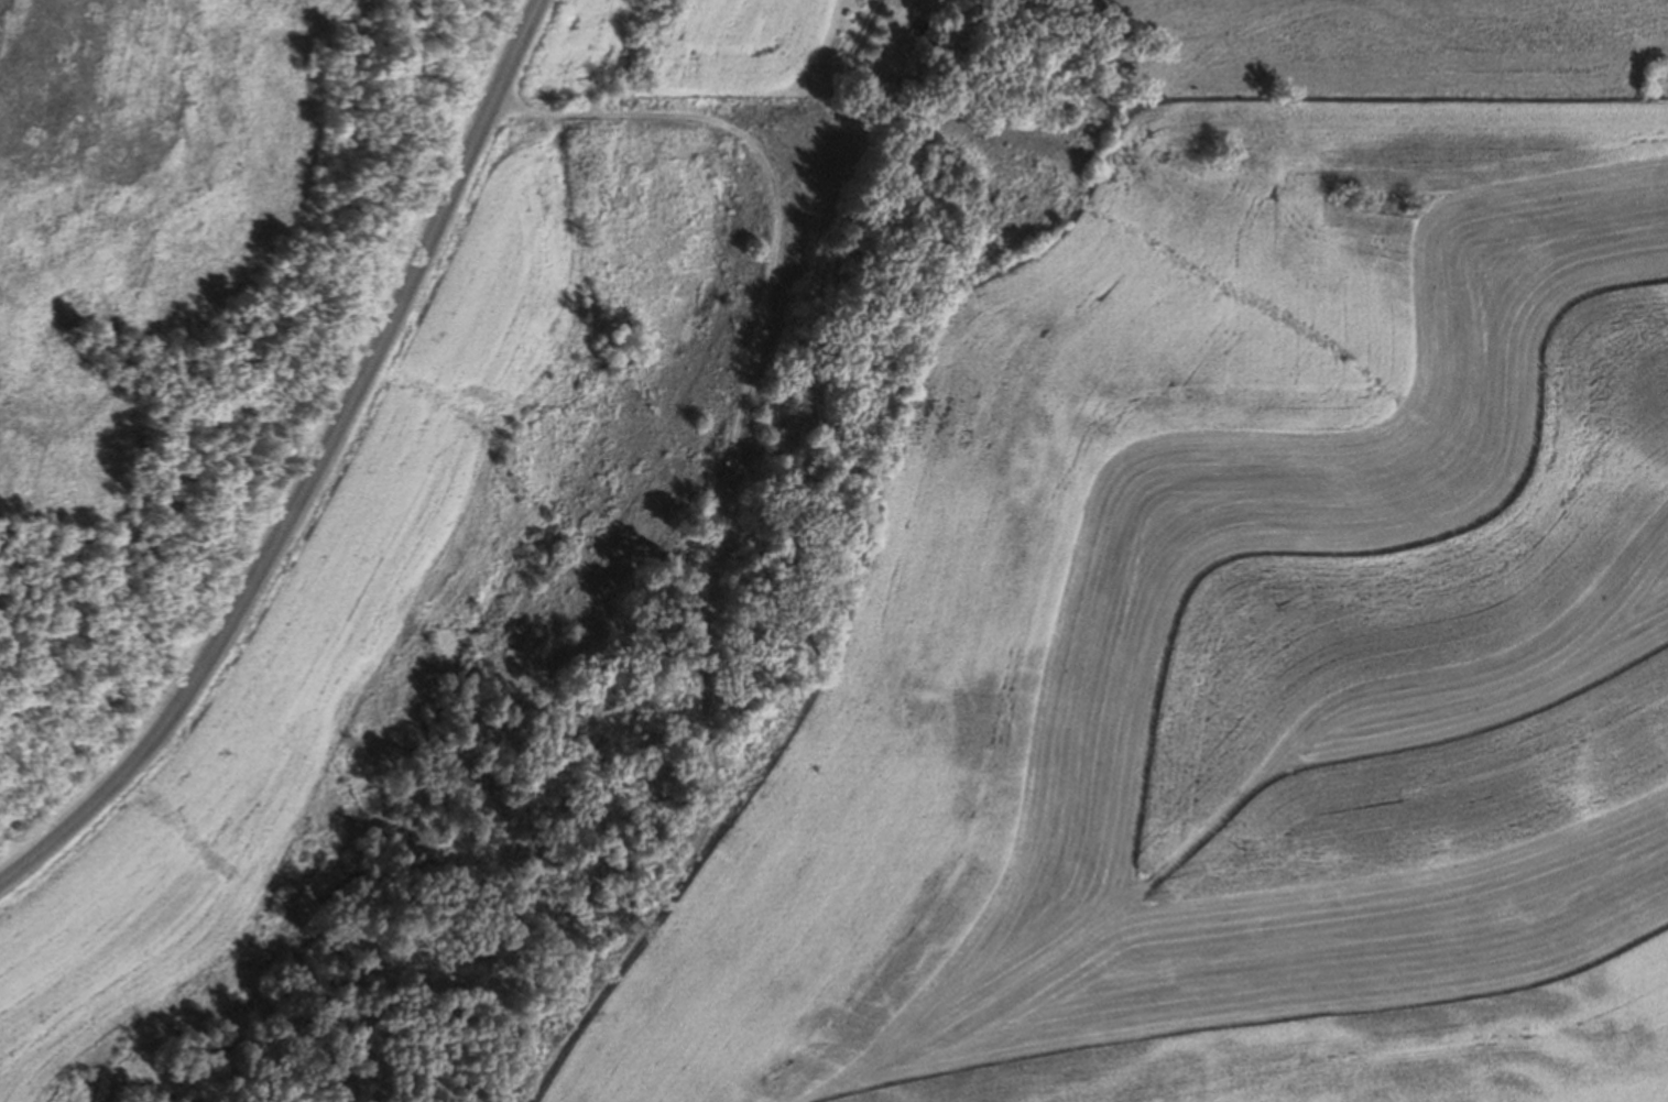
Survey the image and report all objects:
road: (317, 474)

